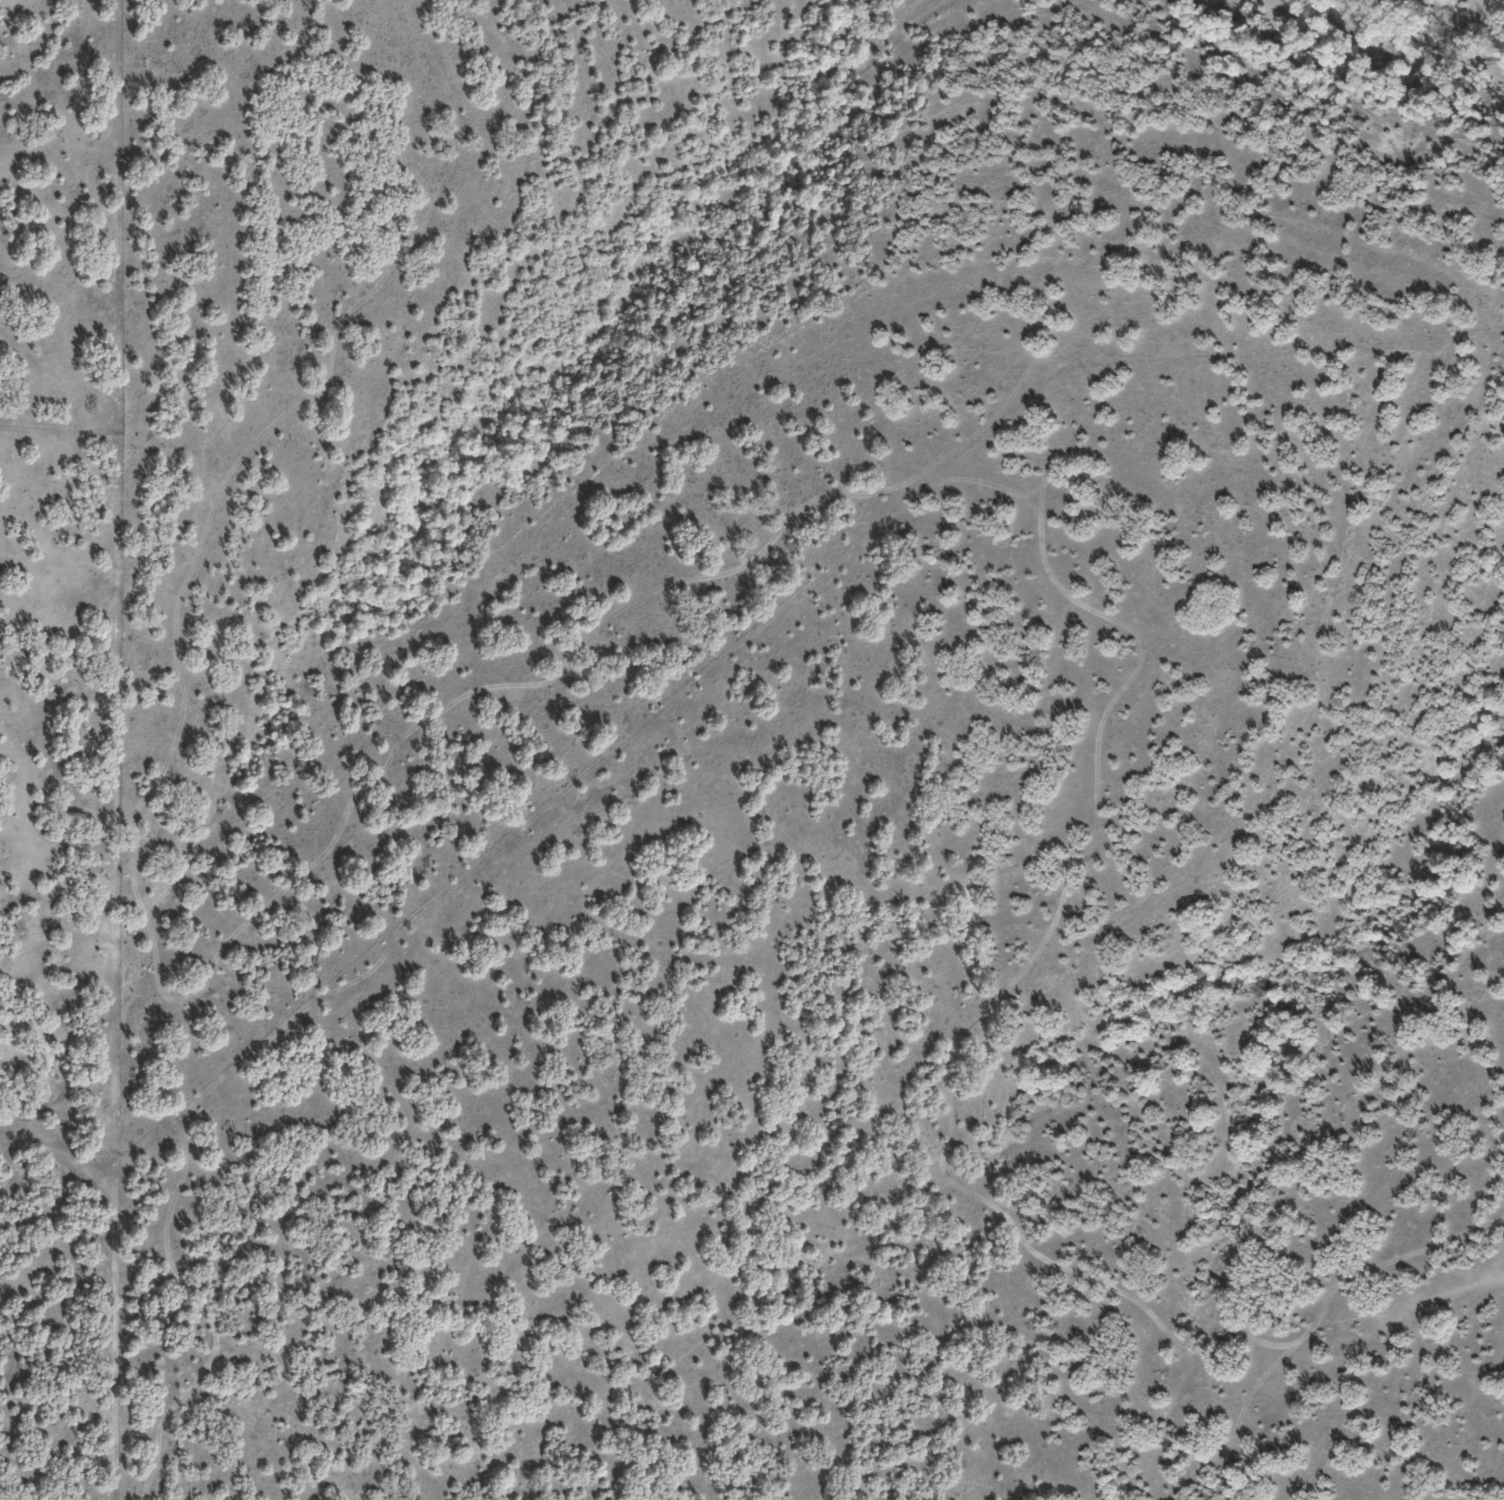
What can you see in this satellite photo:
road: (1150, 618)

